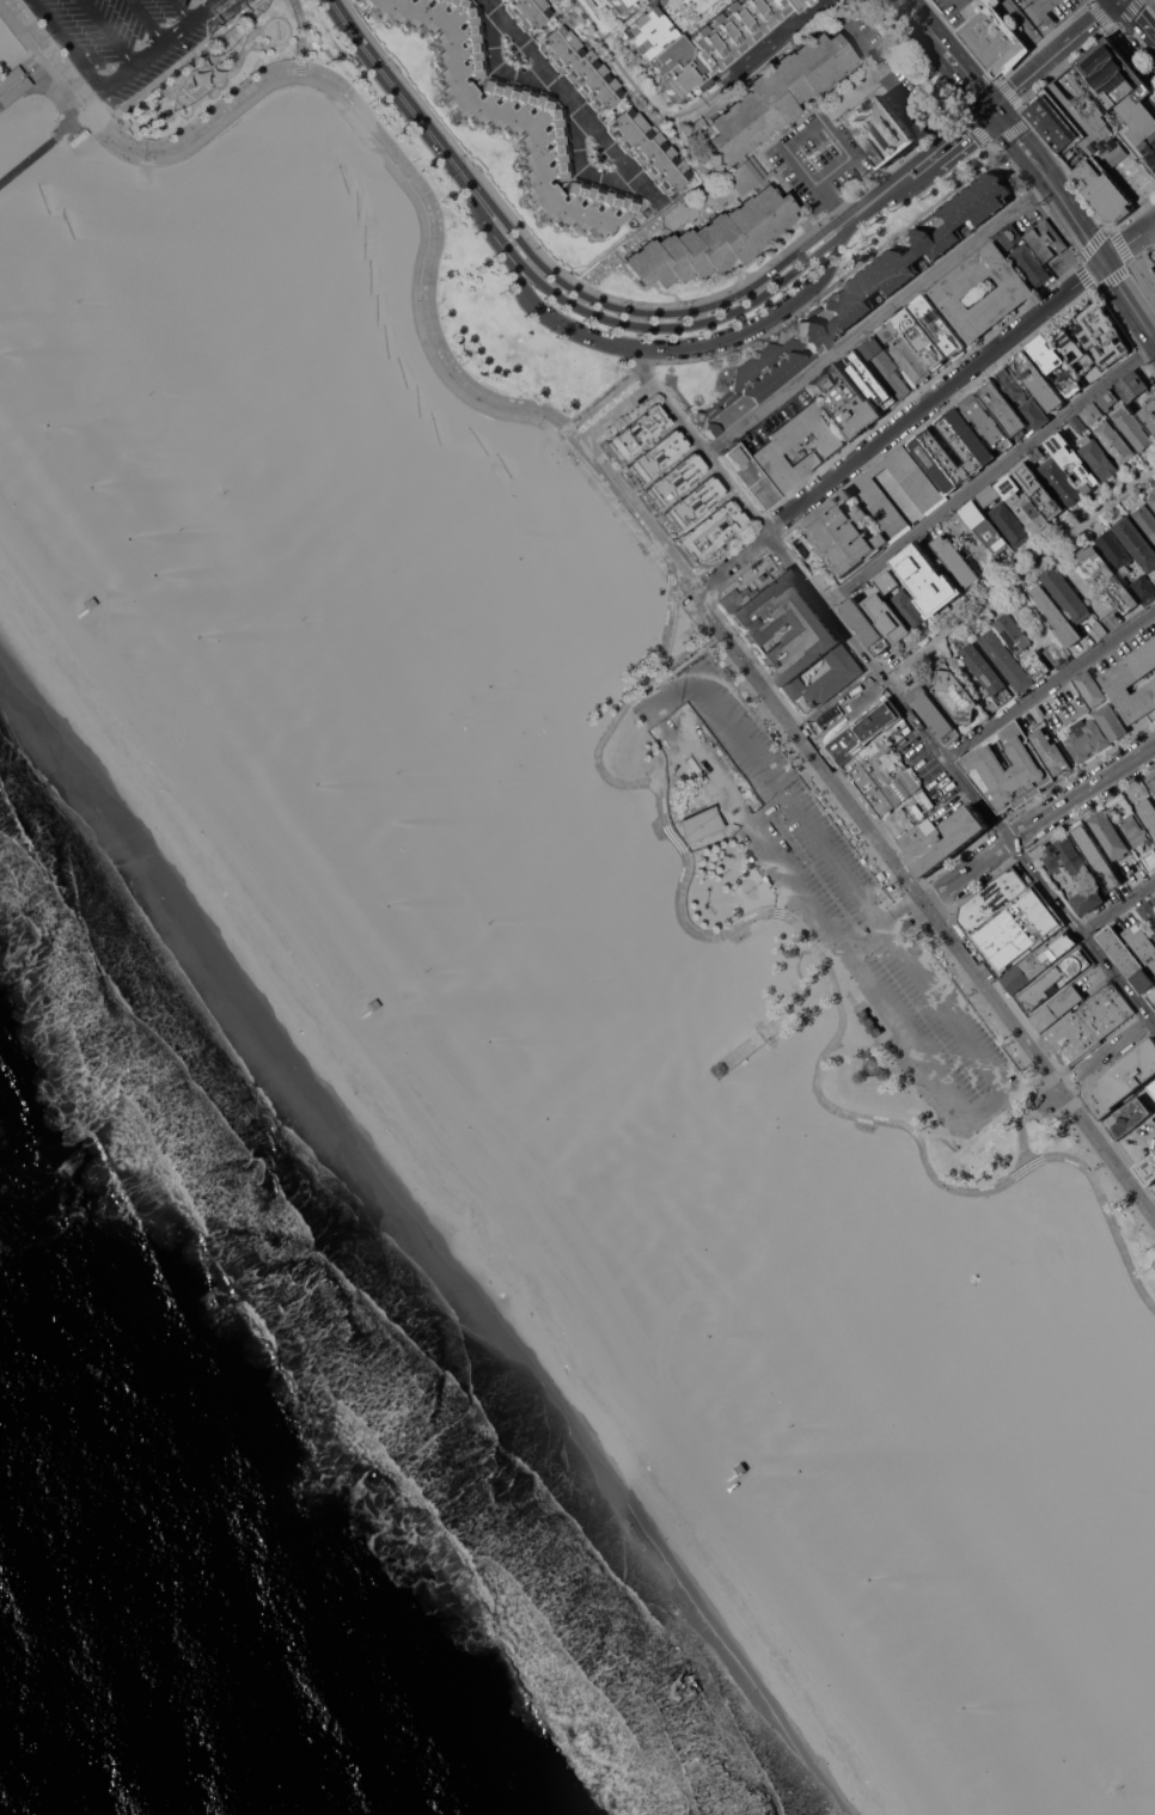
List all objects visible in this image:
building: (359, 0)
building: (503, 0)
road: (215, 1)
road: (962, 1)
building: (625, 5)
road: (181, 11)
building: (527, 12)
road: (1141, 16)
road: (146, 22)
road: (1045, 24)
road: (106, 32)
parking lot: (857, 32)
parking lot: (129, 35)
road: (301, 38)
road: (774, 39)
building: (995, 41)
building: (701, 42)
road: (163, 43)
road: (67, 44)
road: (957, 51)
road: (1053, 54)
road: (937, 60)
road: (179, 61)
road: (876, 61)
road: (496, 67)
building: (580, 68)
road: (317, 69)
building: (11, 85)
road: (641, 93)
building: (1123, 93)
road: (709, 94)
road: (402, 98)
parking lot: (913, 100)
road: (572, 102)
road: (341, 103)
road: (701, 106)
traffic signals: (996, 108)
road: (87, 115)
building: (509, 115)
building: (1064, 118)
road: (795, 124)
road: (817, 127)
road: (940, 129)
building: (885, 132)
building: (77, 137)
road: (1025, 145)
building: (647, 149)
road: (925, 159)
road: (26, 160)
parking lot: (821, 164)
road: (581, 167)
building: (745, 169)
building: (1106, 177)
road: (835, 206)
building: (1101, 206)
road: (1077, 222)
building: (1046, 239)
road: (808, 242)
road: (1127, 242)
road: (819, 249)
building: (1023, 253)
park: (473, 268)
road: (742, 273)
building: (1147, 273)
road: (738, 280)
road: (833, 287)
building: (951, 291)
road: (665, 294)
building: (852, 299)
road: (1127, 301)
road: (603, 302)
road: (687, 304)
road: (880, 317)
road: (605, 318)
building: (939, 325)
building: (888, 330)
building: (1105, 335)
building: (921, 337)
building: (1064, 342)
road: (979, 343)
road: (660, 349)
building: (1045, 354)
building: (911, 361)
building: (885, 365)
building: (1088, 372)
building: (1039, 380)
building: (1069, 383)
building: (1132, 385)
building: (875, 387)
building: (1023, 397)
building: (1154, 398)
building: (847, 399)
building: (1108, 399)
road: (667, 402)
road: (600, 403)
building: (1004, 408)
building: (1092, 412)
building: (1149, 414)
road: (902, 421)
building: (986, 421)
building: (1077, 423)
building: (1132, 427)
building: (636, 433)
building: (1114, 442)
building: (771, 448)
building: (974, 450)
building: (1037, 454)
building: (655, 457)
building: (1098, 457)
building: (1075, 464)
road: (990, 472)
building: (748, 476)
building: (673, 481)
building: (1062, 481)
building: (1040, 489)
building: (989, 495)
building: (1153, 500)
building: (691, 503)
building: (1023, 506)
road: (612, 507)
building: (870, 513)
building: (1145, 520)
building: (1010, 524)
building: (986, 528)
building: (710, 531)
building: (1136, 540)
building: (1116, 551)
building: (957, 560)
road: (1019, 574)
building: (825, 576)
road: (672, 577)
building: (928, 579)
road: (691, 580)
building: (887, 581)
building: (1117, 582)
building: (1144, 588)
building: (1065, 593)
building: (96, 594)
building: (909, 609)
building: (887, 617)
building: (1057, 617)
building: (866, 625)
building: (1100, 629)
building: (1013, 632)
building: (793, 637)
building: (1057, 654)
building: (1006, 660)
building: (1038, 666)
park: (502, 676)
building: (988, 676)
building: (1132, 682)
road: (1051, 684)
road: (678, 685)
building: (1090, 687)
building: (954, 693)
building: (1076, 704)
park: (460, 705)
road: (844, 714)
building: (935, 714)
building: (1112, 722)
park: (531, 723)
building: (863, 731)
road: (928, 738)
building: (1086, 739)
road: (802, 742)
building: (1051, 751)
building: (983, 769)
park: (507, 771)
building: (878, 778)
building: (1153, 781)
road: (1081, 792)
road: (789, 799)
building: (1148, 812)
building: (696, 820)
road: (756, 823)
building: (912, 824)
building: (1110, 835)
building: (1139, 838)
building: (942, 839)
building: (1095, 855)
building: (1068, 856)
road: (967, 873)
parking lot: (836, 896)
building: (1089, 899)
building: (1154, 899)
building: (989, 900)
road: (902, 907)
road: (1119, 907)
building: (1147, 910)
road: (1035, 911)
road: (922, 916)
building: (907, 924)
road: (885, 925)
road: (732, 929)
building: (1154, 930)
road: (905, 931)
road: (864, 933)
road: (891, 935)
building: (1154, 935)
building: (990, 936)
road: (870, 941)
building: (1142, 943)
road: (850, 948)
building: (789, 951)
building: (1126, 959)
building: (1029, 968)
building: (1056, 979)
building: (392, 1004)
building: (1057, 1008)
road: (949, 1017)
road: (769, 1022)
building: (869, 1022)
building: (1088, 1026)
road: (913, 1037)
road: (1108, 1056)
road: (1040, 1063)
building: (869, 1069)
building: (719, 1072)
building: (1123, 1078)
building: (1153, 1088)
road: (991, 1110)
building: (1129, 1117)
road: (1025, 1120)
building: (1148, 1169)
building: (1154, 1188)
building: (723, 1477)

